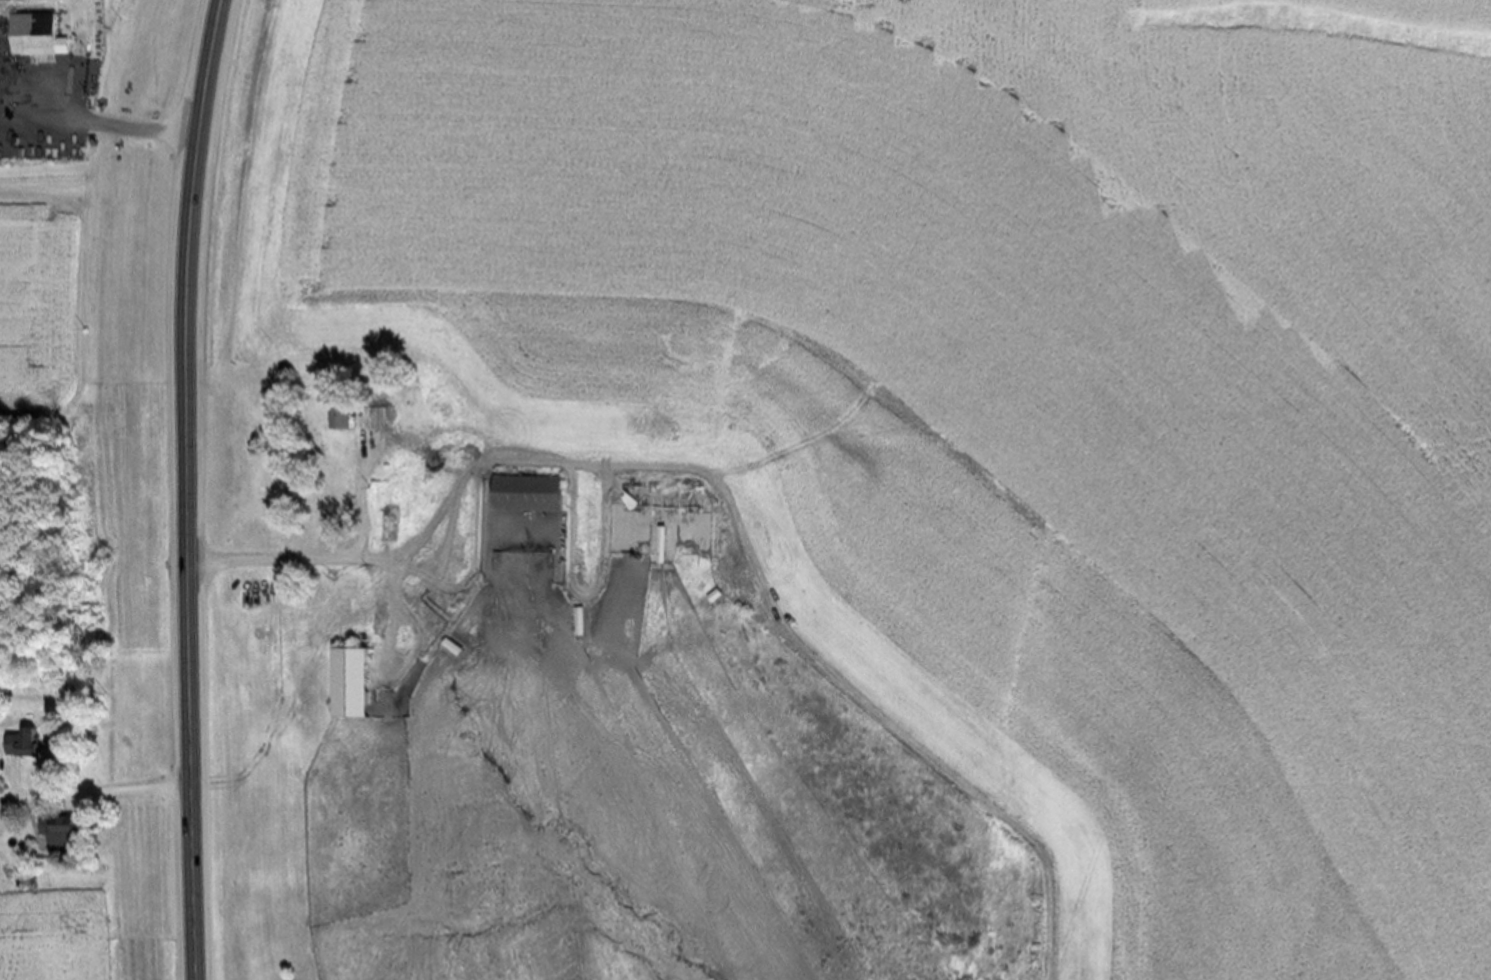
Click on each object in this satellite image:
building: (39, 34)
road: (127, 125)
building: (378, 412)
building: (350, 415)
road: (185, 488)
building: (530, 491)
building: (663, 496)
road: (328, 558)
road: (756, 568)
building: (357, 679)
building: (28, 741)
road: (94, 789)
building: (62, 827)

